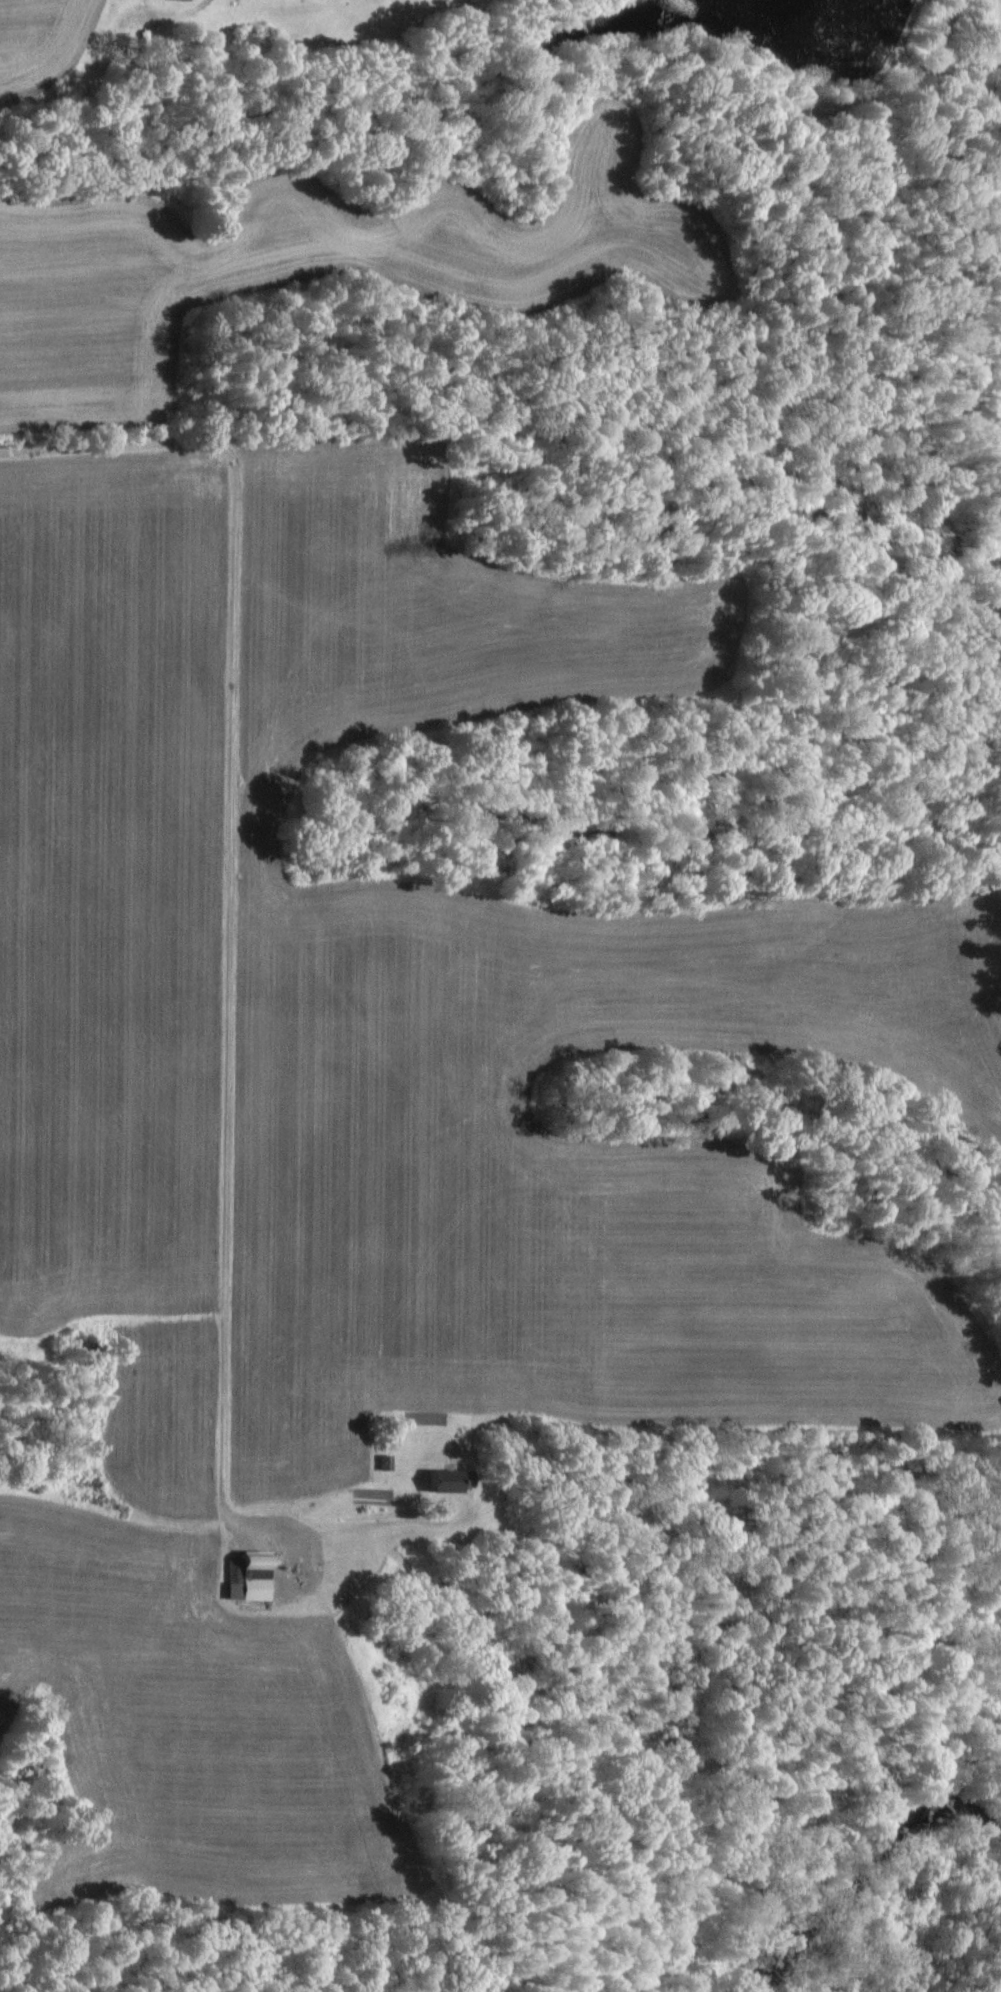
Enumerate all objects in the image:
road: (241, 857)
building: (446, 1481)
building: (251, 1577)

